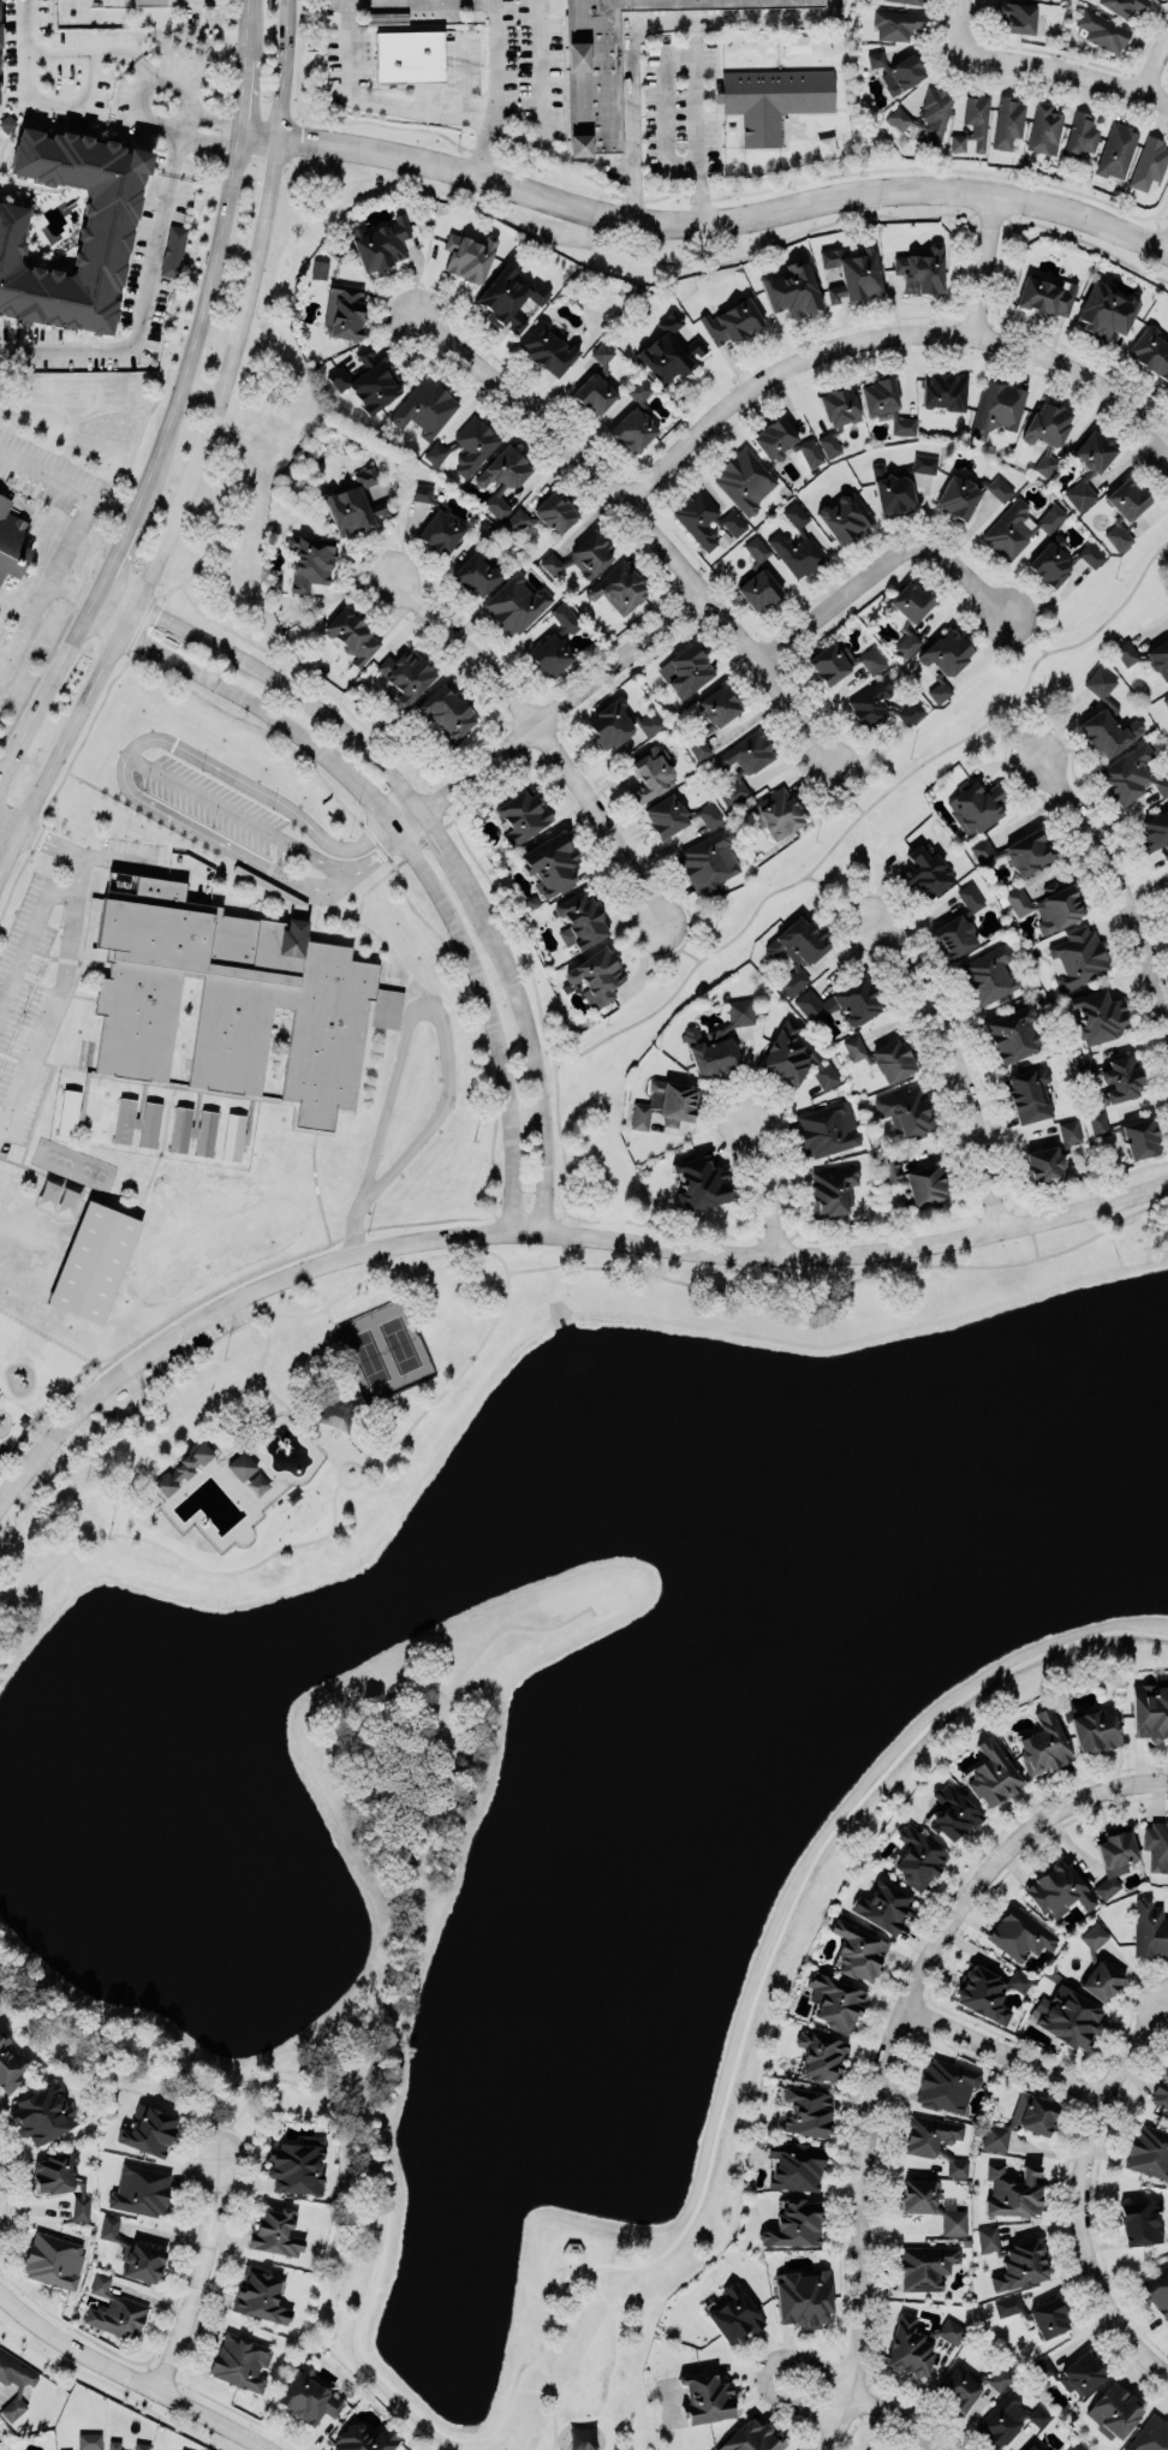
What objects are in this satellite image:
road: (410, 1)
road: (483, 1)
building: (911, 1)
building: (148, 2)
road: (192, 6)
building: (1122, 6)
road: (347, 10)
building: (1017, 16)
road: (249, 22)
road: (643, 23)
building: (896, 24)
road: (28, 25)
road: (958, 28)
building: (1101, 30)
building: (409, 52)
road: (1071, 55)
building: (615, 64)
road: (1154, 66)
parking lot: (532, 67)
road: (282, 70)
road: (1063, 70)
building: (896, 71)
road: (538, 73)
road: (1026, 75)
road: (460, 76)
road: (24, 79)
road: (151, 81)
road: (245, 89)
road: (494, 89)
building: (771, 99)
road: (383, 102)
road: (665, 108)
parking lot: (683, 108)
building: (934, 114)
building: (898, 118)
building: (1007, 121)
road: (692, 123)
building: (973, 124)
road: (201, 125)
building: (1044, 129)
building: (1080, 135)
road: (523, 143)
road: (178, 145)
building: (1116, 150)
road: (607, 160)
building: (1149, 163)
road: (269, 179)
road: (678, 192)
road: (704, 221)
building: (103, 236)
building: (381, 244)
road: (1167, 244)
building: (173, 251)
building: (469, 255)
road: (988, 267)
building: (318, 268)
building: (920, 270)
building: (852, 274)
road: (995, 283)
building: (791, 290)
building: (1045, 296)
building: (508, 298)
building: (346, 309)
building: (1103, 311)
road: (138, 320)
building: (731, 321)
road: (197, 332)
road: (886, 338)
road: (798, 341)
building: (547, 349)
building: (669, 351)
building: (1151, 351)
building: (602, 356)
building: (367, 380)
building: (944, 391)
building: (594, 394)
building: (878, 397)
building: (839, 405)
building: (425, 408)
building: (996, 408)
building: (634, 421)
building: (904, 426)
building: (1047, 433)
building: (774, 440)
building: (466, 445)
building: (829, 445)
building: (810, 452)
building: (1095, 452)
building: (924, 463)
road: (1148, 466)
road: (47, 471)
building: (502, 477)
building: (743, 480)
building: (997, 487)
building: (421, 492)
building: (894, 492)
building: (1081, 492)
building: (958, 496)
building: (1126, 499)
building: (354, 504)
building: (555, 512)
building: (845, 516)
building: (697, 518)
building: (517, 519)
building: (733, 522)
road: (645, 524)
building: (1018, 527)
building: (440, 531)
building: (1118, 536)
building: (11, 537)
building: (795, 545)
building: (756, 548)
road: (118, 553)
road: (156, 555)
building: (582, 557)
building: (1060, 559)
building: (310, 560)
road: (884, 561)
building: (478, 565)
road: (46, 585)
road: (75, 588)
building: (619, 588)
building: (758, 590)
road: (99, 599)
building: (516, 603)
road: (1037, 608)
building: (907, 614)
building: (565, 617)
road: (141, 624)
road: (1020, 628)
building: (352, 635)
road: (983, 638)
building: (947, 652)
road: (5, 653)
building: (1126, 653)
building: (550, 655)
building: (1158, 658)
building: (841, 664)
building: (689, 671)
building: (405, 676)
building: (938, 690)
road: (46, 701)
building: (1166, 701)
building: (880, 703)
road: (548, 707)
building: (447, 712)
building: (714, 716)
building: (1107, 719)
road: (544, 722)
building: (649, 722)
building: (609, 724)
road: (260, 725)
road: (1027, 726)
road: (84, 738)
building: (746, 753)
building: (651, 773)
building: (1132, 773)
road: (131, 789)
building: (733, 792)
road: (846, 793)
parking lot: (219, 803)
road: (869, 808)
building: (976, 808)
building: (777, 813)
building: (709, 814)
road: (150, 815)
building: (522, 815)
building: (665, 815)
road: (448, 820)
road: (10, 823)
road: (424, 823)
road: (437, 831)
building: (1156, 832)
road: (37, 837)
road: (421, 844)
road: (381, 845)
road: (410, 849)
building: (982, 850)
building: (1027, 852)
road: (109, 856)
road: (1120, 861)
building: (708, 863)
building: (552, 864)
building: (925, 872)
road: (13, 881)
road: (369, 887)
road: (844, 893)
building: (1167, 893)
building: (970, 897)
road: (310, 902)
building: (1167, 904)
building: (1050, 908)
building: (580, 921)
building: (954, 936)
road: (29, 939)
road: (675, 939)
building: (795, 951)
building: (1078, 957)
parking lot: (48, 964)
road: (62, 965)
building: (597, 975)
building: (988, 975)
building: (232, 1003)
building: (841, 1003)
road: (537, 1005)
building: (1097, 1016)
road: (473, 1030)
road: (441, 1031)
building: (1013, 1034)
building: (717, 1045)
building: (853, 1047)
road: (963, 1059)
building: (892, 1060)
building: (1114, 1077)
building: (1030, 1094)
building: (665, 1104)
building: (906, 1111)
building: (67, 1112)
building: (124, 1118)
building: (149, 1123)
building: (180, 1129)
building: (827, 1130)
building: (1069, 1131)
building: (205, 1132)
building: (1130, 1135)
building: (233, 1136)
building: (263, 1154)
building: (290, 1159)
building: (1043, 1165)
building: (336, 1166)
road: (776, 1178)
building: (698, 1181)
building: (917, 1182)
road: (316, 1188)
building: (832, 1190)
road: (540, 1218)
road: (542, 1229)
road: (870, 1232)
park: (31, 1236)
road: (1035, 1239)
road: (564, 1253)
building: (94, 1261)
park: (94, 1262)
road: (503, 1263)
road: (844, 1282)
road: (219, 1290)
road: (330, 1315)
road: (196, 1350)
park: (383, 1351)
road: (144, 1420)
building: (239, 1465)
building: (183, 1468)
road: (362, 1475)
road: (183, 1554)
building: (1150, 1711)
building: (1092, 1728)
building: (1043, 1742)
road: (362, 1755)
building: (991, 1768)
building: (952, 1807)
building: (1156, 1842)
road: (431, 1848)
building: (1115, 1855)
building: (917, 1857)
building: (1059, 1886)
building: (883, 1905)
building: (1149, 1928)
building: (1021, 1933)
building: (858, 1945)
building: (1100, 1963)
road: (898, 1987)
building: (989, 1987)
building: (836, 1998)
building: (1069, 2011)
road: (1002, 2044)
road: (883, 2045)
building: (821, 2051)
building: (10, 2067)
road: (156, 2076)
building: (944, 2086)
building: (1161, 2089)
building: (806, 2111)
building: (42, 2113)
building: (1023, 2116)
building: (148, 2130)
building: (929, 2134)
building: (1149, 2148)
building: (296, 2161)
building: (795, 2161)
building: (957, 2166)
building: (61, 2181)
road: (7, 2182)
road: (1086, 2184)
building: (141, 2189)
building: (1013, 2189)
building: (918, 2195)
building: (953, 2222)
building: (1140, 2222)
building: (794, 2224)
building: (275, 2232)
building: (135, 2250)
building: (1014, 2258)
building: (53, 2259)
building: (926, 2265)
road: (203, 2268)
building: (1157, 2289)
building: (260, 2295)
building: (804, 2295)
building: (115, 2308)
building: (734, 2312)
building: (1037, 2312)
building: (951, 2330)
building: (908, 2347)
building: (240, 2360)
road: (756, 2363)
road: (150, 2367)
road: (764, 2367)
building: (1041, 2368)
road: (132, 2372)
building: (1080, 2372)
road: (543, 2375)
building: (999, 2378)
road: (113, 2384)
building: (958, 2389)
building: (16, 2392)
building: (308, 2393)
building: (707, 2393)
building: (1114, 2409)
building: (1008, 2418)
road: (829, 2421)
road: (894, 2422)
building: (1150, 2434)
building: (752, 2436)
building: (364, 2437)
building: (89, 2439)
building: (114, 2444)
building: (142, 2445)
building: (1031, 2446)
building: (1078, 2446)
building: (65, 2449)
building: (181, 2449)
building: (869, 2449)

